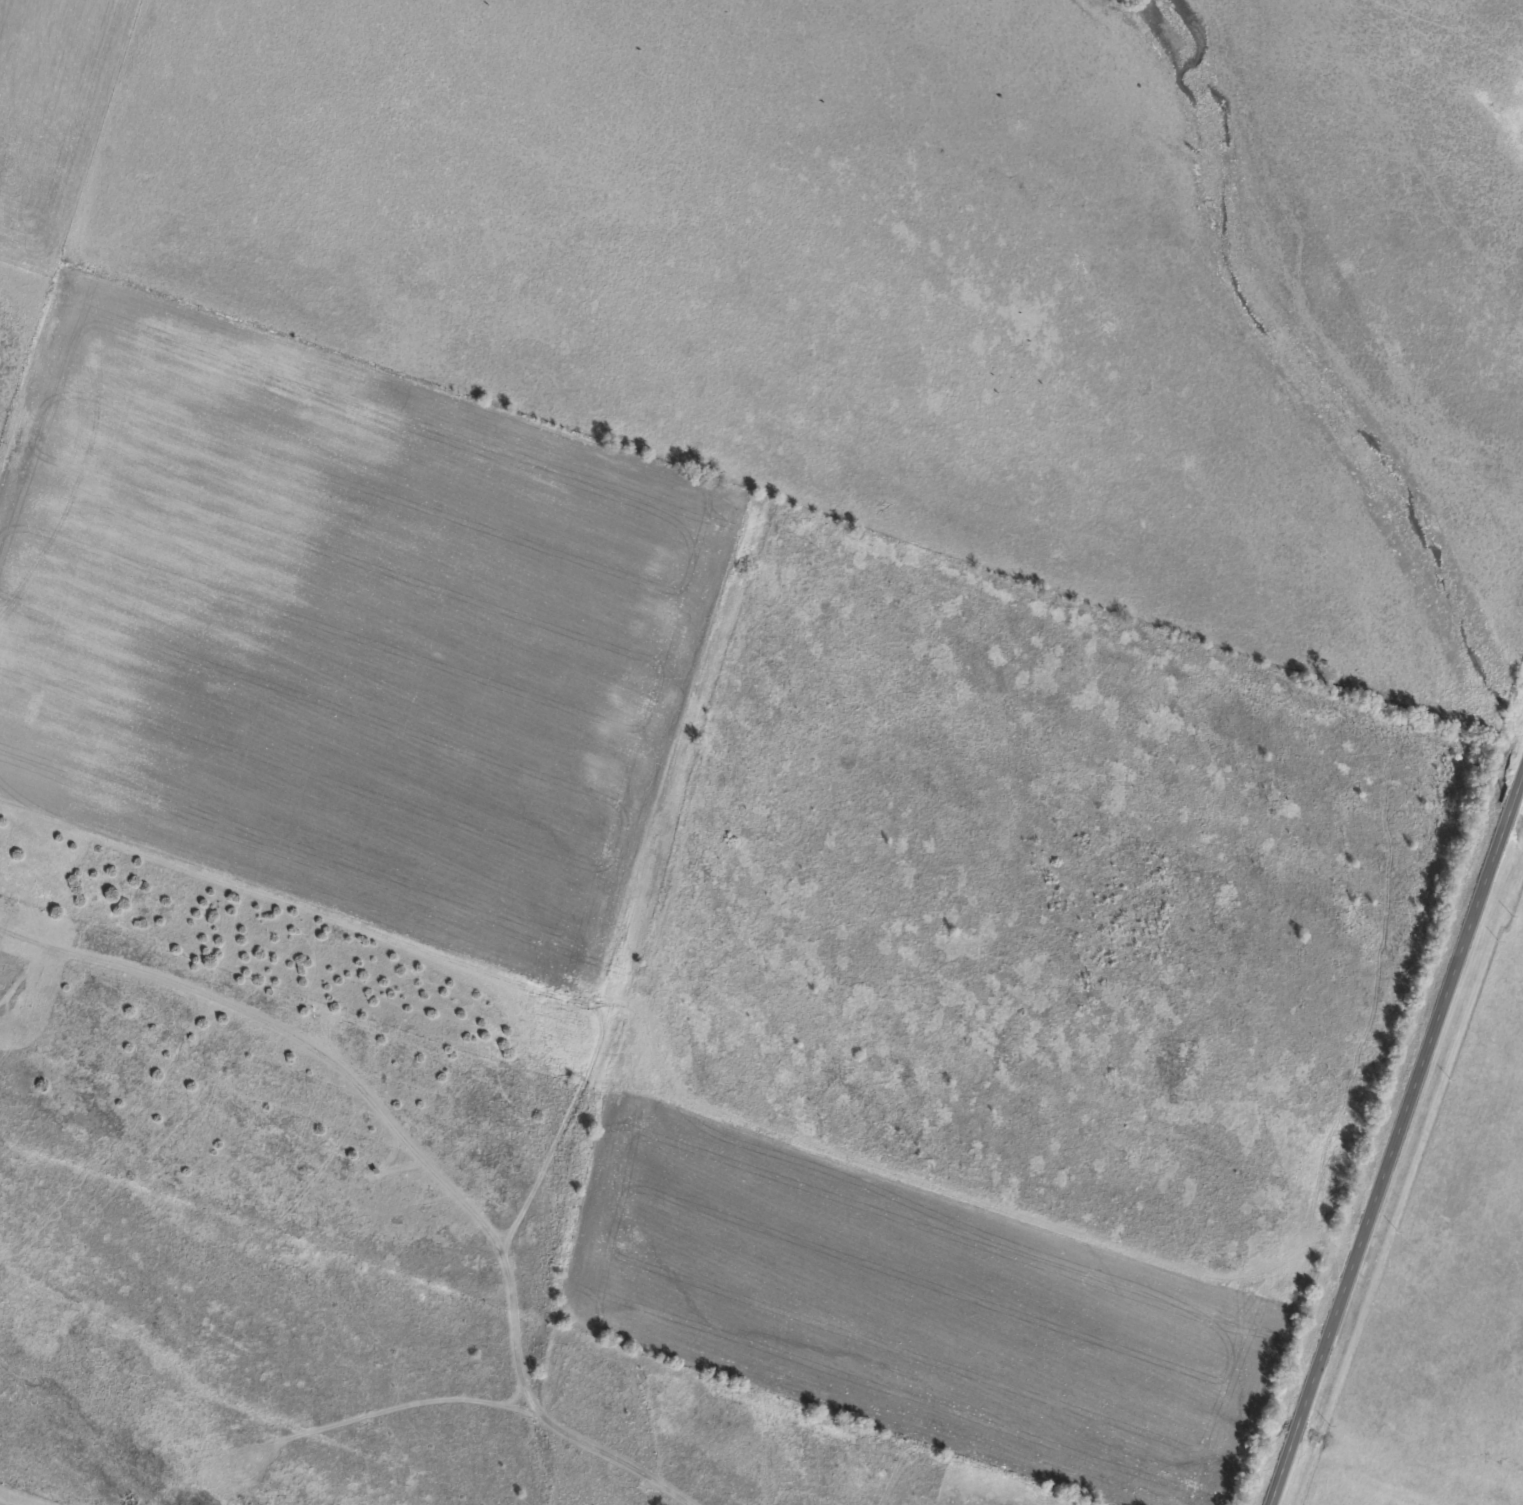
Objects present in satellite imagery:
road: (1395, 1143)

